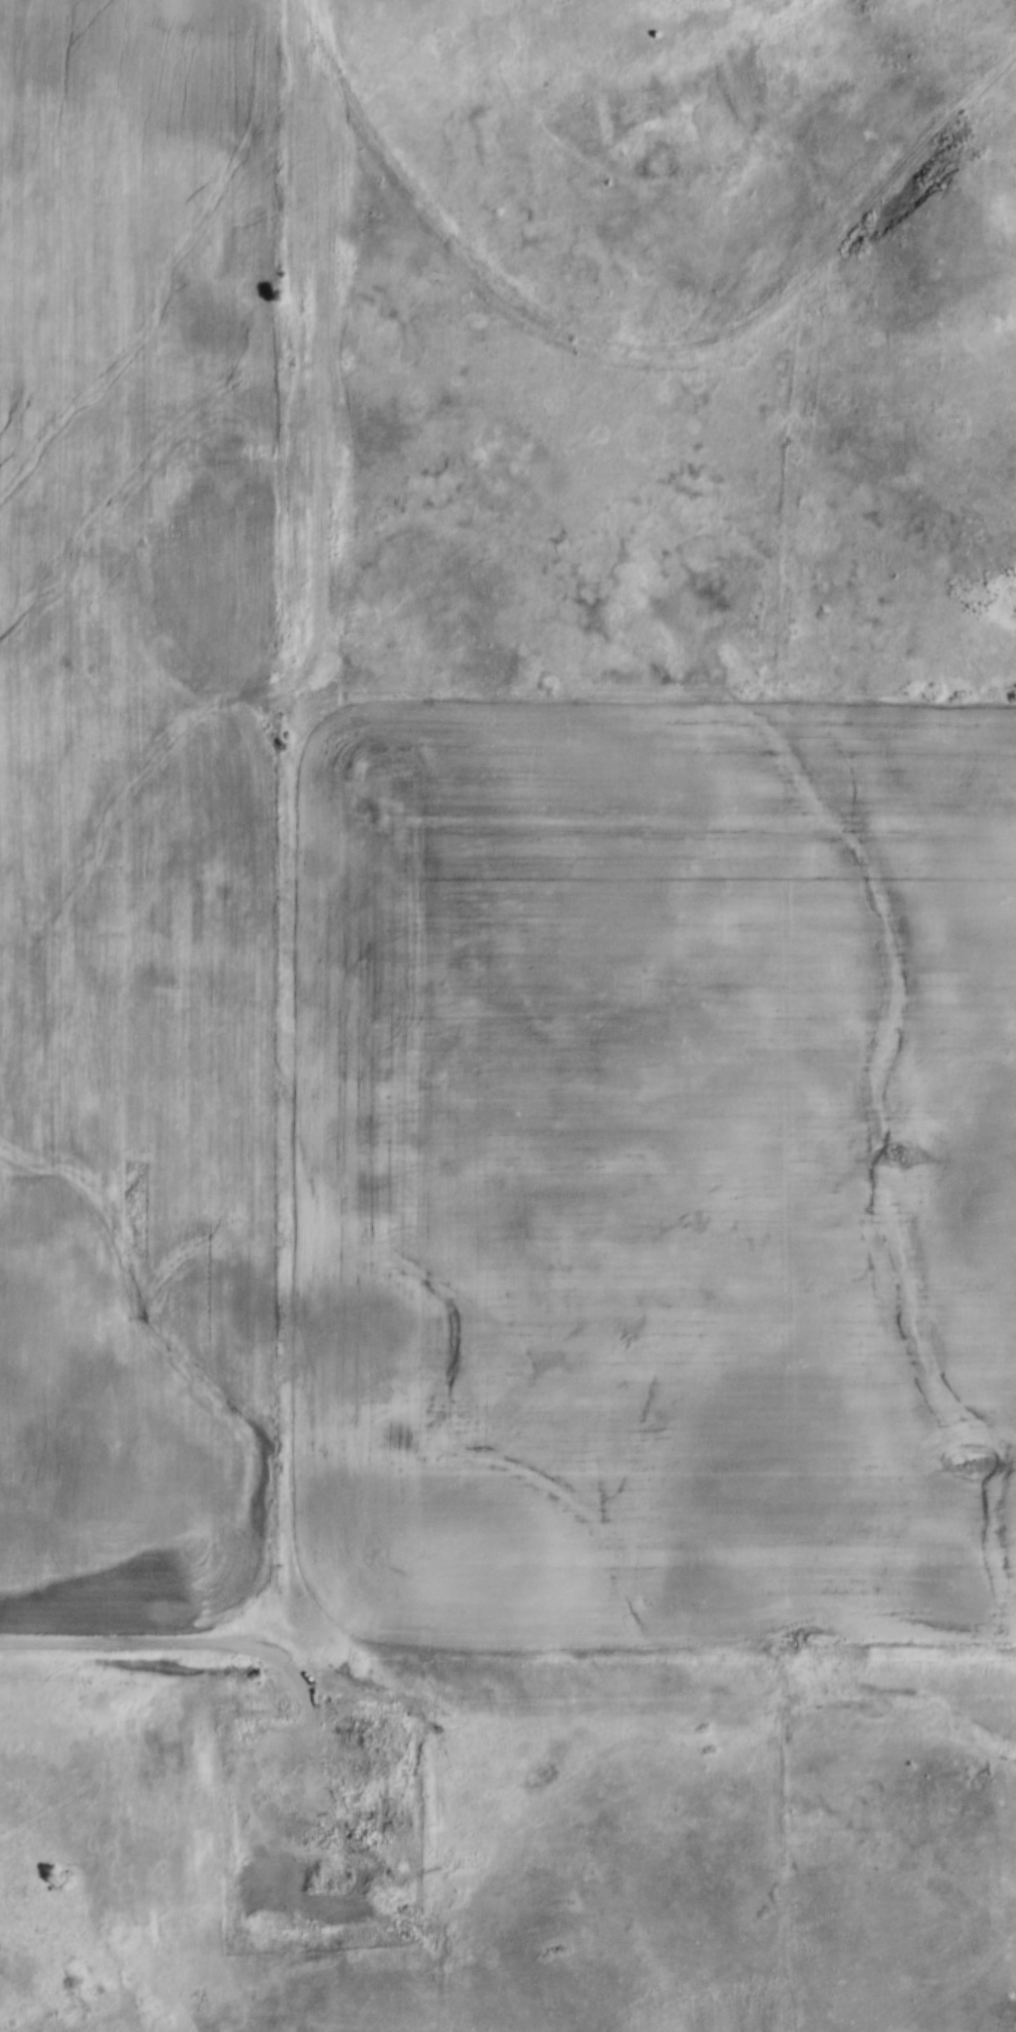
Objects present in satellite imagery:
road: (309, 400)
road: (255, 1654)
building: (364, 1718)
building: (342, 1748)
building: (341, 1764)
building: (355, 1772)
petroleum well: (256, 1798)
building: (363, 1824)
building: (349, 1825)
building: (382, 1827)

